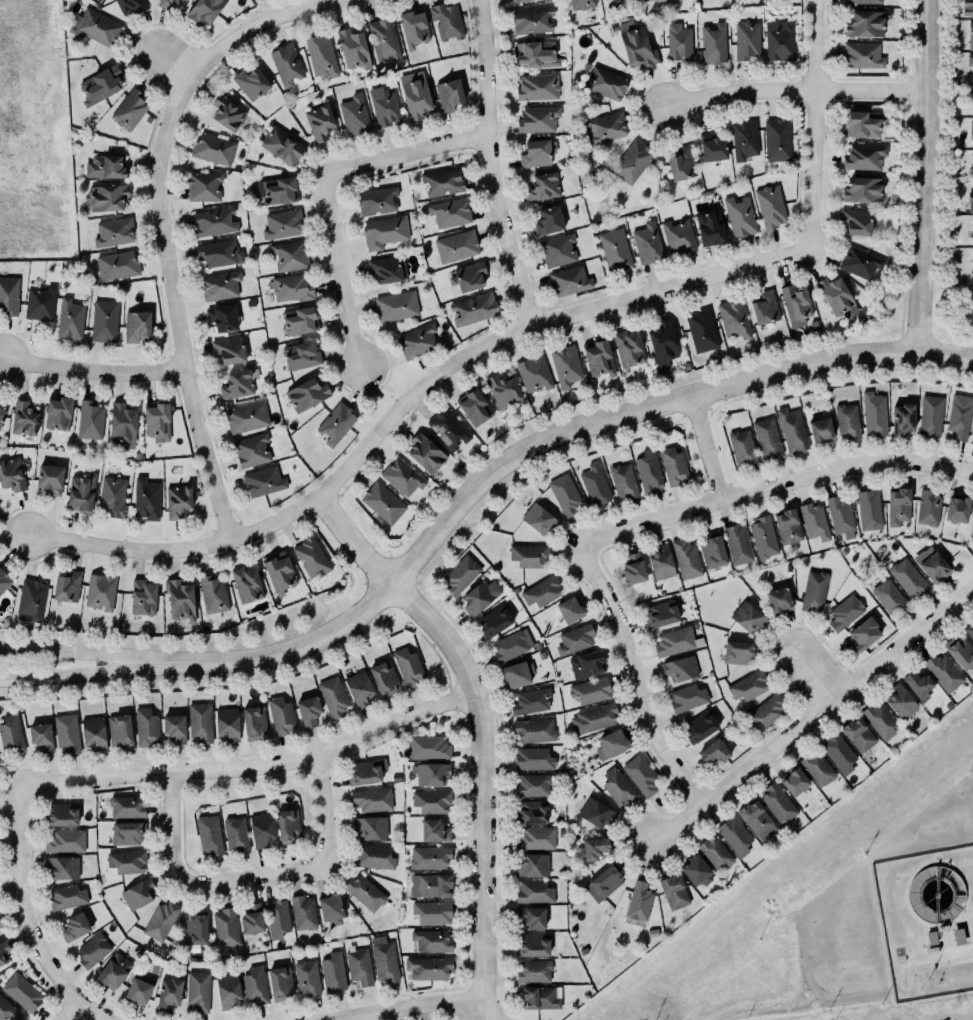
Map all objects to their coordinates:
building: (641, 0)
building: (516, 1)
building: (860, 1)
building: (163, 2)
building: (581, 4)
building: (128, 6)
building: (965, 6)
building: (204, 10)
building: (530, 17)
building: (445, 20)
building: (866, 23)
building: (93, 26)
building: (413, 28)
building: (969, 32)
building: (675, 38)
building: (384, 39)
building: (746, 39)
building: (778, 40)
building: (713, 43)
building: (635, 44)
building: (353, 48)
building: (535, 53)
building: (320, 55)
building: (863, 55)
building: (968, 59)
building: (286, 64)
building: (605, 82)
building: (251, 83)
building: (101, 85)
building: (536, 86)
road: (796, 88)
building: (415, 94)
building: (448, 94)
building: (970, 96)
building: (384, 109)
building: (130, 110)
building: (972, 110)
building: (226, 112)
building: (355, 115)
building: (538, 119)
road: (814, 121)
building: (320, 122)
building: (863, 124)
building: (970, 125)
building: (604, 127)
building: (743, 138)
building: (777, 140)
building: (280, 145)
building: (712, 147)
building: (214, 149)
building: (538, 153)
road: (408, 154)
building: (863, 156)
road: (491, 161)
building: (631, 161)
building: (682, 164)
building: (103, 167)
road: (923, 175)
building: (442, 181)
building: (204, 186)
building: (543, 187)
building: (861, 190)
building: (280, 191)
building: (106, 198)
building: (969, 198)
building: (377, 201)
building: (769, 206)
building: (450, 212)
building: (739, 216)
building: (549, 219)
road: (163, 221)
building: (213, 221)
building: (857, 221)
building: (283, 224)
building: (971, 227)
building: (709, 228)
building: (383, 231)
building: (114, 232)
building: (678, 236)
building: (648, 243)
building: (457, 246)
building: (556, 246)
building: (615, 250)
building: (220, 253)
building: (288, 254)
building: (859, 262)
building: (117, 265)
building: (385, 269)
road: (338, 270)
building: (470, 276)
building: (568, 278)
building: (221, 285)
building: (292, 288)
building: (834, 295)
building: (9, 296)
building: (39, 302)
building: (794, 302)
building: (395, 305)
building: (765, 307)
building: (474, 309)
building: (221, 318)
building: (70, 319)
building: (734, 319)
building: (300, 320)
building: (104, 321)
building: (137, 327)
building: (702, 330)
building: (417, 341)
building: (663, 344)
building: (629, 348)
building: (229, 350)
building: (299, 354)
building: (599, 359)
building: (565, 366)
road: (93, 372)
building: (533, 373)
road: (832, 381)
building: (236, 384)
building: (501, 389)
building: (307, 394)
road: (412, 398)
building: (475, 408)
building: (873, 413)
building: (57, 414)
building: (1, 415)
building: (930, 415)
building: (958, 415)
building: (247, 417)
building: (22, 418)
building: (902, 418)
building: (90, 420)
building: (847, 421)
building: (158, 422)
building: (121, 423)
building: (335, 423)
building: (447, 429)
building: (791, 429)
building: (821, 430)
building: (766, 437)
building: (972, 439)
road: (708, 446)
building: (741, 446)
building: (252, 450)
building: (425, 453)
road: (532, 453)
building: (674, 466)
building: (649, 470)
building: (11, 474)
building: (401, 477)
building: (51, 479)
building: (623, 480)
building: (262, 481)
road: (775, 484)
building: (594, 486)
building: (81, 492)
building: (564, 493)
building: (111, 496)
building: (145, 499)
building: (177, 501)
building: (382, 503)
building: (898, 506)
building: (928, 508)
building: (868, 509)
building: (956, 510)
building: (840, 516)
building: (538, 518)
building: (813, 521)
building: (788, 526)
building: (971, 532)
building: (764, 537)
building: (737, 543)
road: (356, 546)
building: (713, 550)
building: (527, 554)
building: (312, 557)
building: (685, 558)
building: (661, 562)
building: (932, 564)
building: (633, 569)
building: (278, 572)
building: (459, 573)
building: (907, 577)
building: (4, 581)
building: (246, 584)
building: (68, 587)
building: (813, 590)
building: (101, 591)
building: (542, 591)
building: (213, 594)
building: (477, 596)
building: (889, 597)
building: (30, 598)
building: (141, 598)
building: (180, 600)
building: (777, 600)
building: (567, 608)
building: (843, 612)
building: (661, 613)
building: (748, 618)
building: (495, 620)
building: (970, 629)
building: (863, 635)
building: (576, 639)
building: (672, 640)
building: (510, 644)
building: (737, 651)
building: (961, 652)
road: (75, 654)
building: (584, 662)
building: (406, 665)
building: (681, 668)
road: (817, 670)
building: (942, 671)
road: (75, 673)
building: (515, 673)
road: (636, 676)
building: (382, 677)
building: (916, 684)
building: (746, 685)
building: (357, 687)
building: (589, 689)
building: (333, 696)
building: (688, 697)
building: (531, 701)
building: (901, 702)
building: (306, 709)
building: (768, 712)
road: (810, 712)
building: (279, 714)
building: (594, 718)
building: (881, 719)
building: (199, 721)
building: (255, 722)
building: (227, 724)
building: (144, 726)
building: (173, 726)
building: (700, 727)
building: (532, 729)
building: (120, 731)
building: (10, 732)
building: (92, 732)
building: (67, 733)
building: (39, 735)
building: (859, 735)
building: (609, 742)
building: (427, 748)
building: (837, 751)
building: (714, 752)
building: (534, 758)
building: (0, 759)
road: (258, 768)
building: (818, 768)
building: (363, 770)
building: (430, 772)
building: (638, 773)
building: (792, 779)
building: (531, 784)
building: (616, 786)
road: (487, 787)
building: (372, 799)
building: (431, 801)
building: (776, 802)
building: (125, 805)
building: (529, 811)
building: (594, 811)
building: (61, 814)
building: (757, 820)
building: (286, 824)
building: (371, 827)
building: (260, 828)
building: (432, 829)
building: (207, 832)
building: (234, 832)
building: (127, 833)
building: (735, 835)
building: (533, 837)
building: (65, 841)
building: (592, 846)
building: (716, 853)
building: (372, 856)
building: (427, 856)
building: (125, 860)
building: (533, 865)
building: (60, 866)
building: (697, 871)
road: (257, 876)
building: (602, 881)
building: (429, 883)
building: (363, 891)
building: (534, 891)
building: (671, 891)
building: (136, 892)
building: (65, 895)
building: (640, 901)
building: (329, 907)
building: (301, 911)
building: (433, 912)
building: (529, 915)
building: (252, 918)
building: (278, 918)
road: (33, 920)
building: (159, 920)
road: (961, 923)
building: (0, 924)
building: (225, 926)
building: (75, 927)
building: (193, 929)
building: (432, 941)
building: (530, 944)
building: (3, 950)
building: (93, 950)
building: (381, 958)
road: (928, 963)
building: (356, 966)
building: (429, 968)
building: (112, 969)
building: (532, 970)
building: (331, 971)
building: (307, 977)
building: (278, 981)
building: (255, 985)
building: (136, 989)
building: (226, 989)
building: (168, 990)
building: (22, 991)
building: (199, 991)
building: (539, 995)
building: (6, 1009)
road: (412, 1009)
road: (72, 1012)

